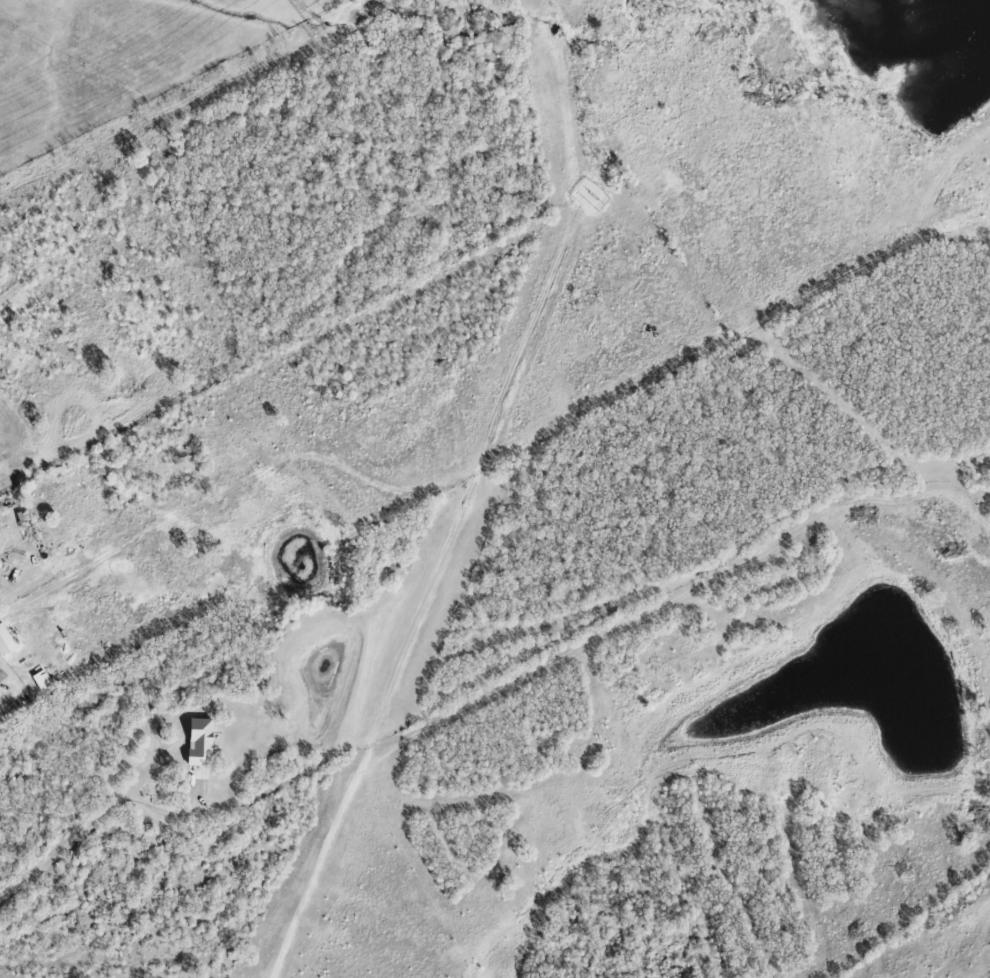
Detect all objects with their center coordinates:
power tower: (316, 0)
power tower: (322, 27)
building: (6, 640)
building: (2, 674)
building: (44, 680)
building: (201, 742)
road: (99, 822)

